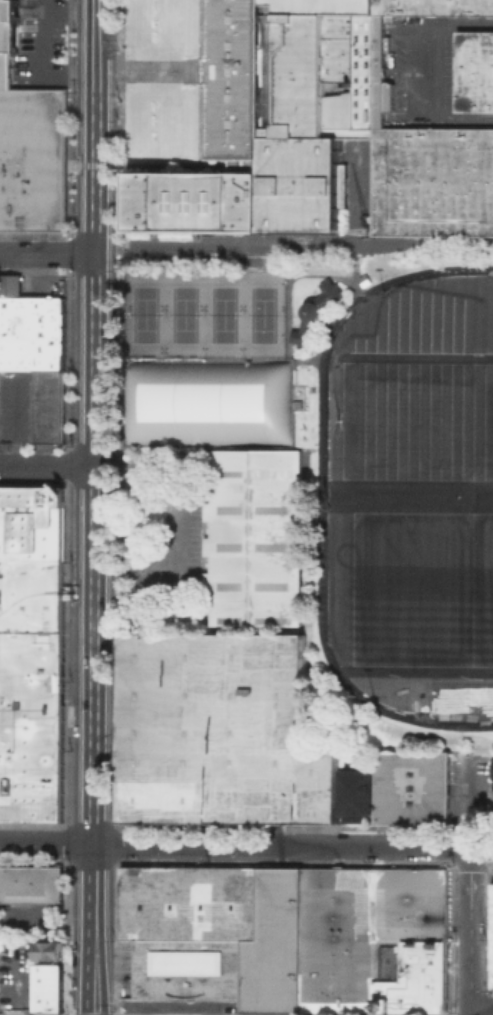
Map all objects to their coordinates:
road: (95, 3)
parking lot: (43, 29)
road: (95, 40)
road: (43, 62)
road: (139, 69)
road: (412, 69)
parking lot: (423, 69)
road: (201, 70)
road: (437, 70)
building: (475, 70)
building: (318, 131)
building: (29, 143)
road: (422, 244)
road: (291, 245)
road: (47, 252)
road: (251, 260)
road: (351, 274)
road: (330, 276)
building: (313, 310)
building: (31, 332)
park: (207, 359)
park: (432, 359)
park: (491, 364)
parking lot: (17, 406)
building: (48, 406)
park: (417, 421)
park: (422, 421)
road: (94, 459)
road: (47, 464)
park: (397, 492)
road: (319, 497)
track: (321, 501)
building: (254, 537)
parking lot: (166, 540)
road: (162, 566)
park: (421, 589)
building: (30, 652)
building: (247, 743)
road: (461, 744)
building: (492, 765)
road: (470, 803)
building: (491, 805)
road: (46, 845)
road: (292, 847)
parking lot: (492, 875)
building: (29, 883)
road: (90, 929)
road: (470, 932)
building: (287, 938)
building: (492, 943)
building: (50, 949)
parking lot: (14, 978)
building: (44, 987)
road: (489, 1013)

